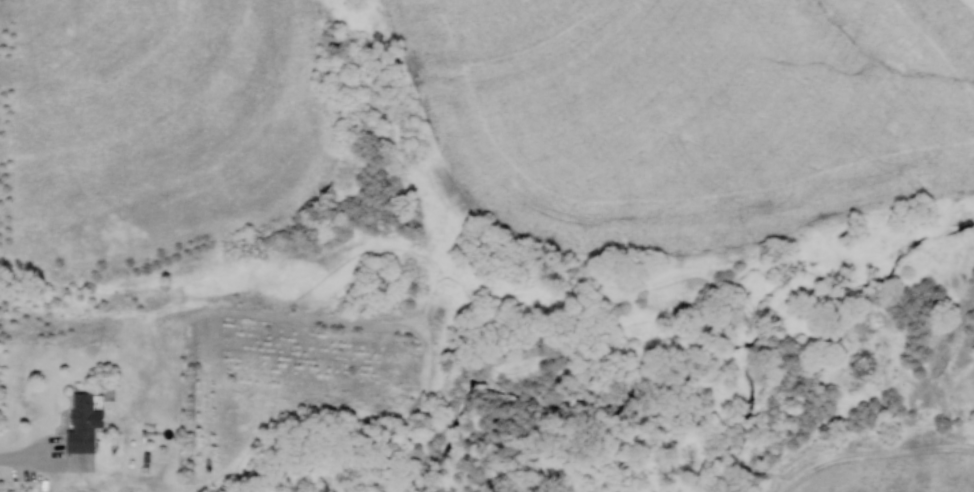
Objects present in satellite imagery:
building: (84, 421)

